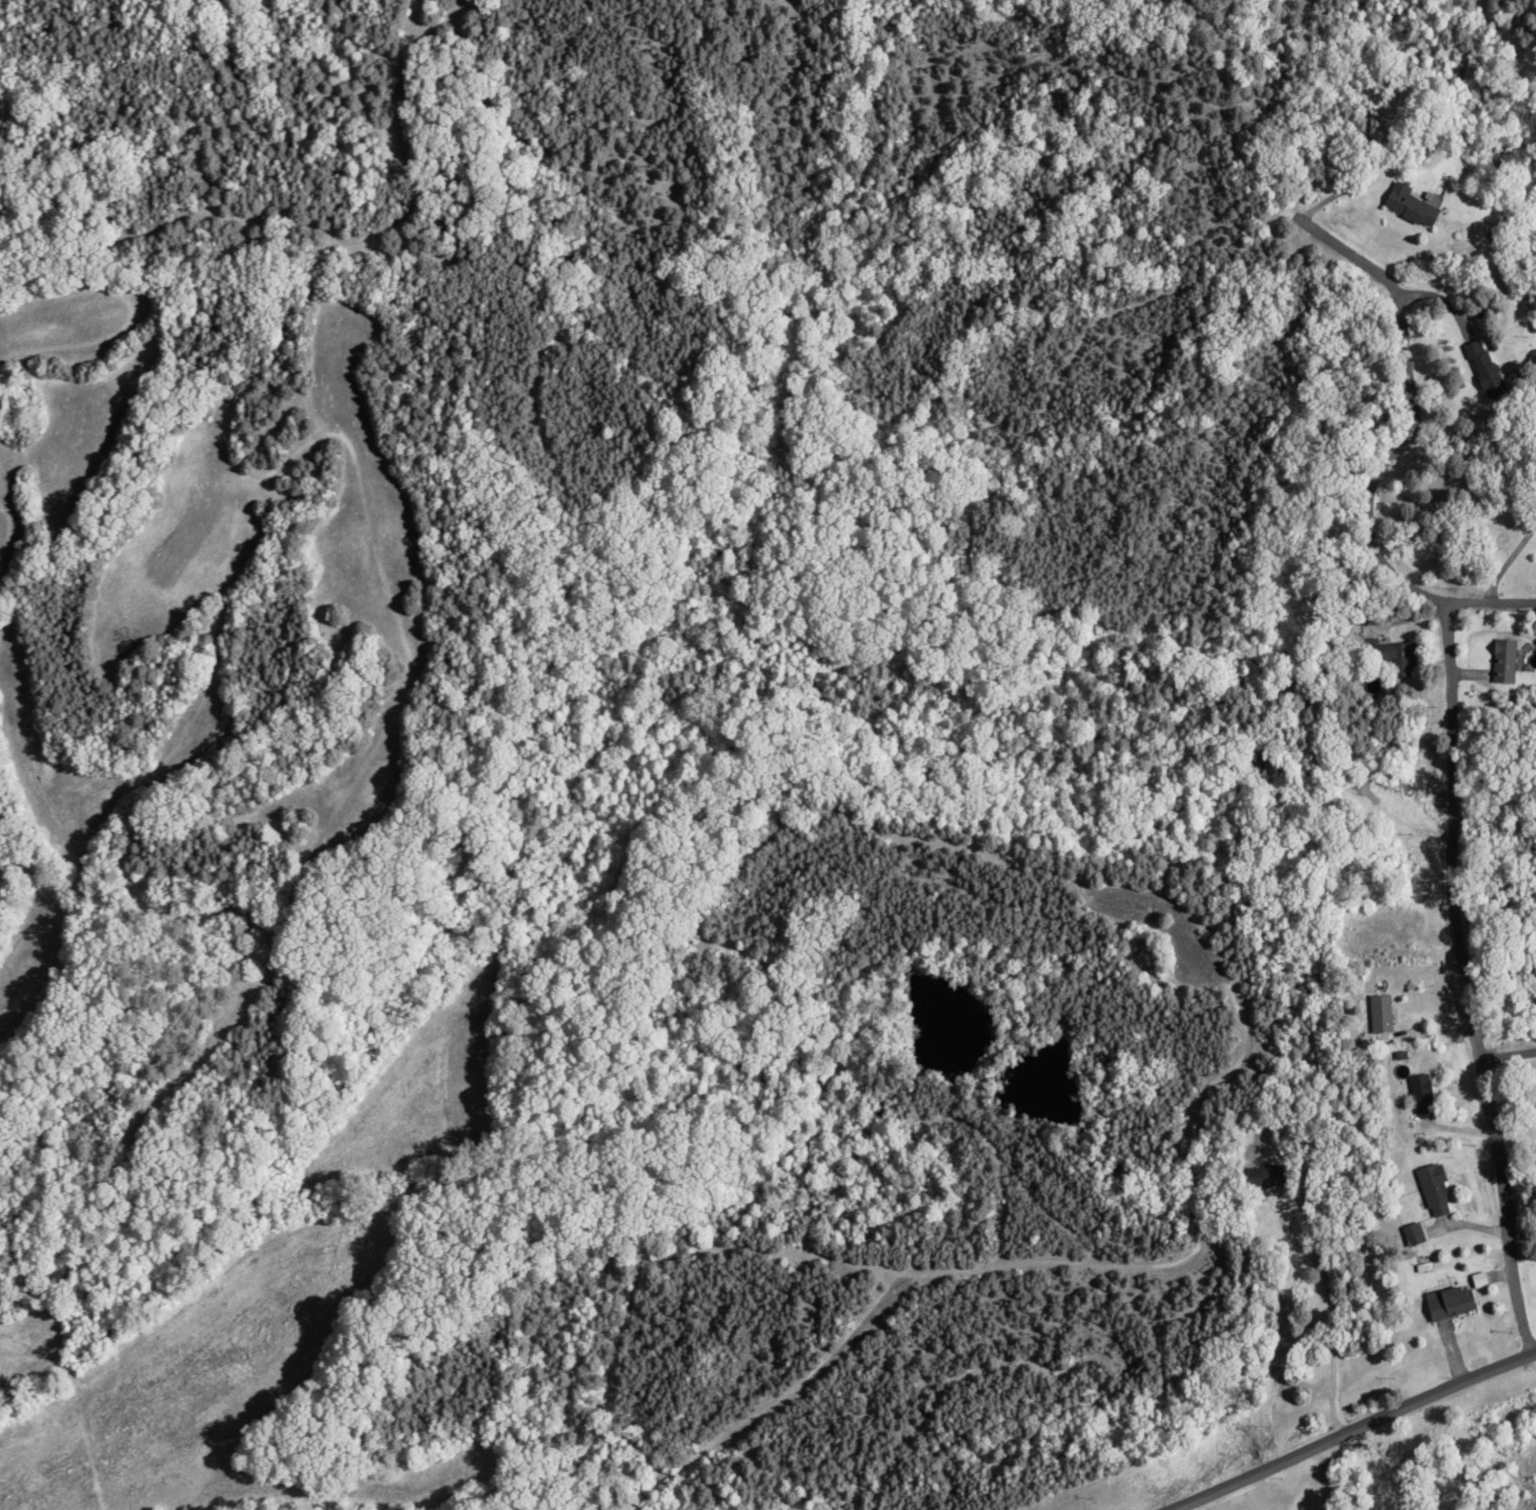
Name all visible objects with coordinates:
building: (1408, 205)
building: (1481, 367)
road: (1389, 496)
building: (1535, 508)
building: (1394, 658)
building: (1502, 660)
road: (1466, 960)
building: (1378, 1014)
road: (1511, 1053)
building: (1419, 1092)
building: (1262, 1176)
building: (1432, 1189)
building: (1446, 1301)
road: (1359, 1428)

